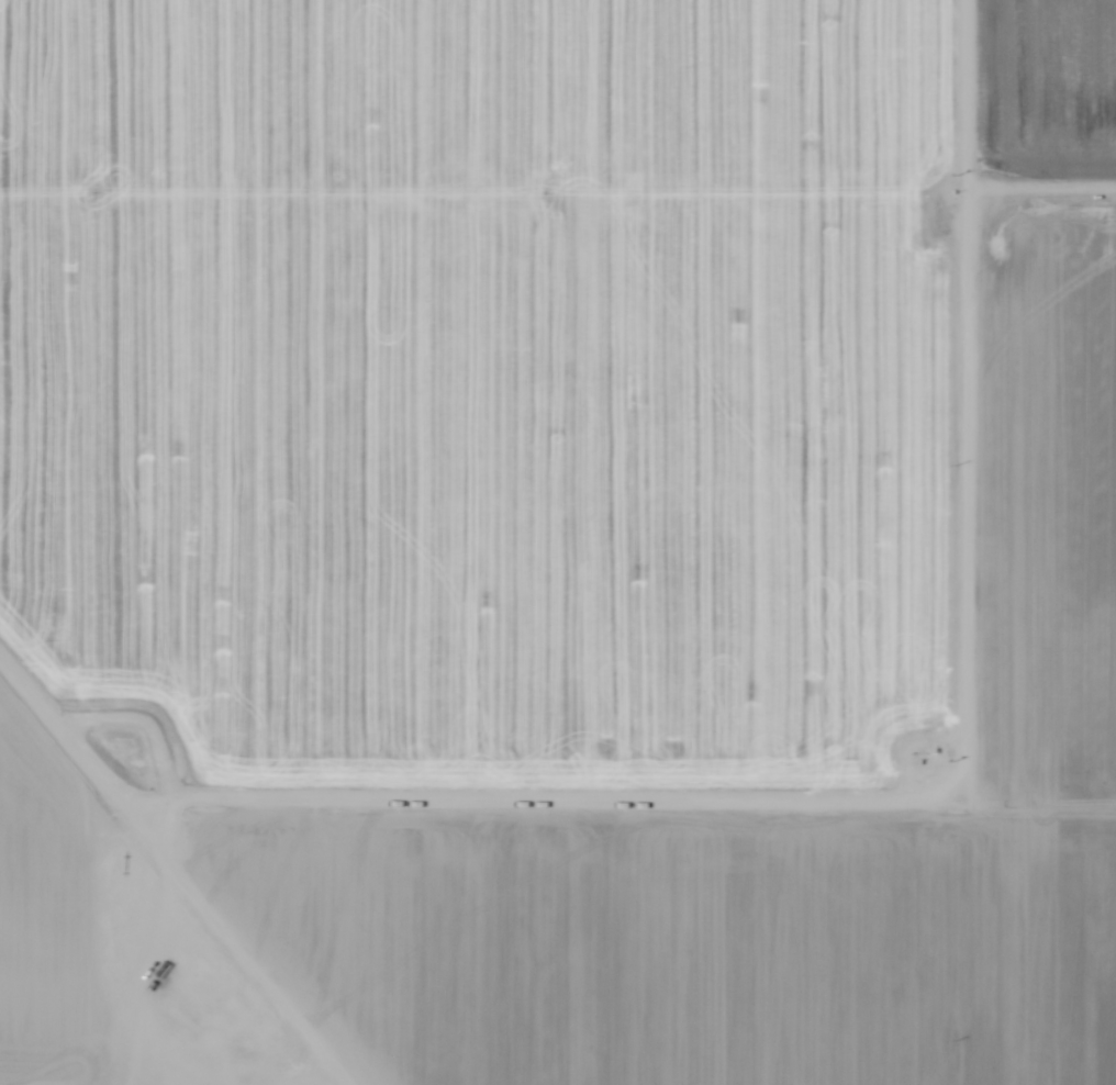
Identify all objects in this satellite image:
crop: (558, 542)
road: (930, 542)
road: (442, 793)
road: (220, 940)

